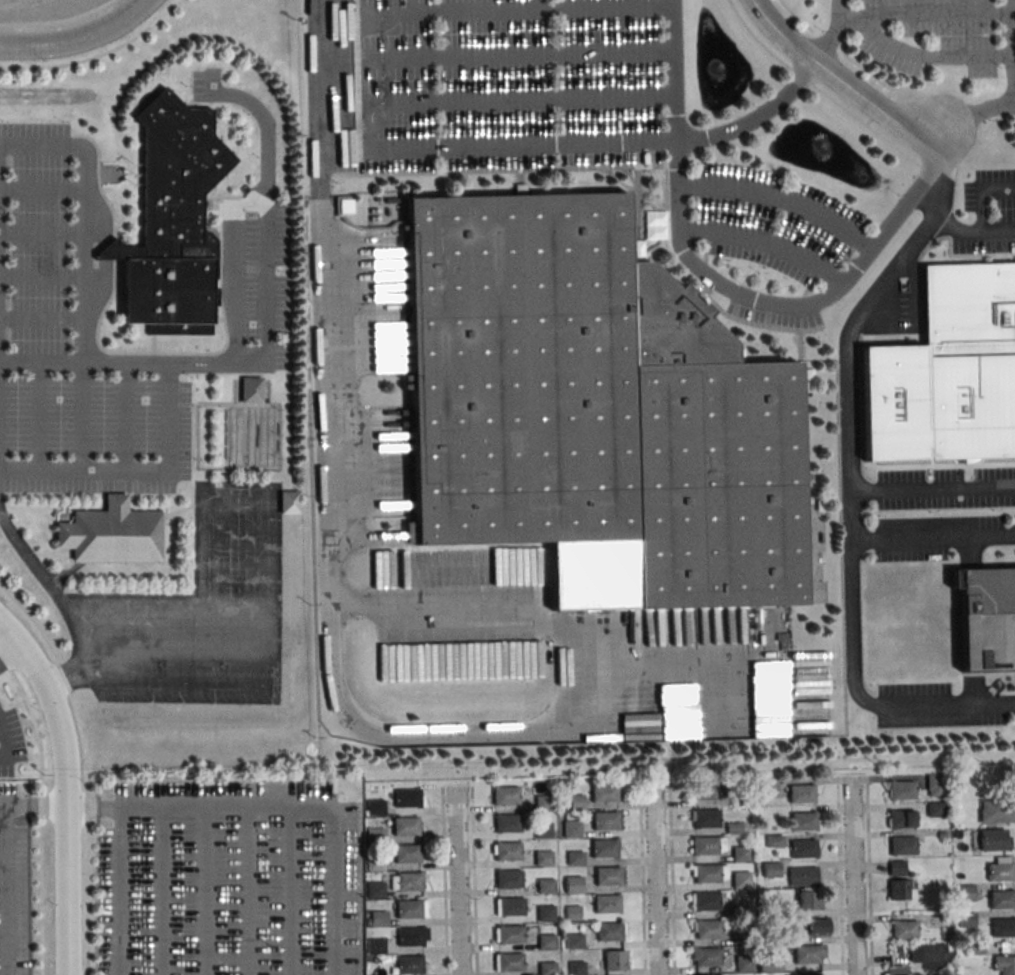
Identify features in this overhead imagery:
road: (542, 7)
road: (926, 13)
road: (59, 21)
road: (833, 32)
road: (78, 39)
road: (543, 53)
road: (921, 55)
road: (97, 56)
road: (790, 69)
road: (419, 73)
road: (836, 76)
road: (877, 81)
road: (1013, 94)
road: (545, 99)
road: (686, 139)
road: (495, 145)
road: (42, 189)
road: (778, 197)
road: (265, 209)
road: (981, 209)
building: (172, 223)
road: (955, 229)
road: (42, 231)
road: (764, 242)
road: (235, 266)
road: (42, 276)
road: (83, 306)
road: (793, 307)
road: (41, 317)
road: (848, 342)
road: (324, 353)
road: (132, 363)
building: (947, 371)
building: (251, 389)
building: (592, 402)
road: (37, 416)
road: (102, 469)
road: (145, 470)
road: (932, 484)
road: (236, 486)
building: (111, 533)
road: (933, 534)
building: (987, 619)
road: (273, 634)
road: (75, 637)
road: (176, 645)
road: (11, 650)
road: (65, 679)
road: (625, 683)
road: (859, 695)
road: (6, 742)
road: (85, 769)
building: (935, 785)
road: (67, 788)
building: (769, 788)
building: (901, 789)
building: (703, 791)
building: (604, 793)
building: (801, 793)
building: (505, 794)
building: (407, 797)
building: (739, 800)
building: (543, 802)
building: (577, 802)
road: (298, 807)
building: (375, 807)
road: (82, 808)
building: (937, 810)
building: (997, 811)
building: (703, 818)
building: (901, 818)
building: (605, 820)
building: (804, 820)
building: (507, 822)
building: (405, 825)
building: (571, 828)
building: (734, 828)
building: (542, 829)
building: (958, 833)
building: (943, 834)
building: (376, 836)
building: (994, 839)
building: (775, 841)
building: (707, 845)
building: (902, 845)
road: (1, 848)
building: (603, 848)
building: (803, 848)
building: (507, 851)
building: (407, 853)
building: (740, 853)
building: (542, 858)
building: (574, 858)
building: (375, 863)
building: (898, 868)
building: (771, 869)
building: (1000, 869)
building: (708, 872)
building: (607, 876)
building: (803, 876)
road: (839, 876)
road: (854, 876)
road: (869, 876)
building: (960, 876)
road: (671, 878)
building: (508, 879)
road: (642, 879)
road: (655, 879)
building: (740, 879)
building: (406, 881)
road: (444, 881)
road: (474, 881)
road: (456, 882)
building: (545, 885)
building: (573, 885)
building: (898, 889)
road: (1, 890)
road: (3, 890)
building: (375, 890)
road: (118, 891)
road: (160, 891)
road: (204, 891)
road: (247, 891)
road: (288, 891)
parking lot: (13, 892)
building: (967, 892)
building: (1002, 899)
building: (809, 900)
building: (704, 901)
building: (606, 904)
building: (509, 906)
building: (410, 908)
building: (771, 908)
building: (738, 909)
building: (571, 912)
building: (545, 913)
building: (946, 917)
building: (378, 918)
building: (968, 920)
building: (1003, 927)
building: (706, 928)
building: (814, 928)
building: (905, 929)
building: (609, 931)
building: (508, 933)
road: (2, 935)
building: (773, 935)
building: (412, 936)
building: (741, 939)
building: (573, 940)
building: (545, 941)
building: (374, 947)
building: (977, 947)
building: (809, 954)
building: (929, 955)
building: (705, 956)
building: (614, 959)
building: (508, 961)
building: (744, 962)
building: (409, 963)
building: (769, 963)
building: (1005, 964)
building: (546, 968)
building: (576, 968)
building: (895, 970)
building: (805, 973)
building: (917, 974)

